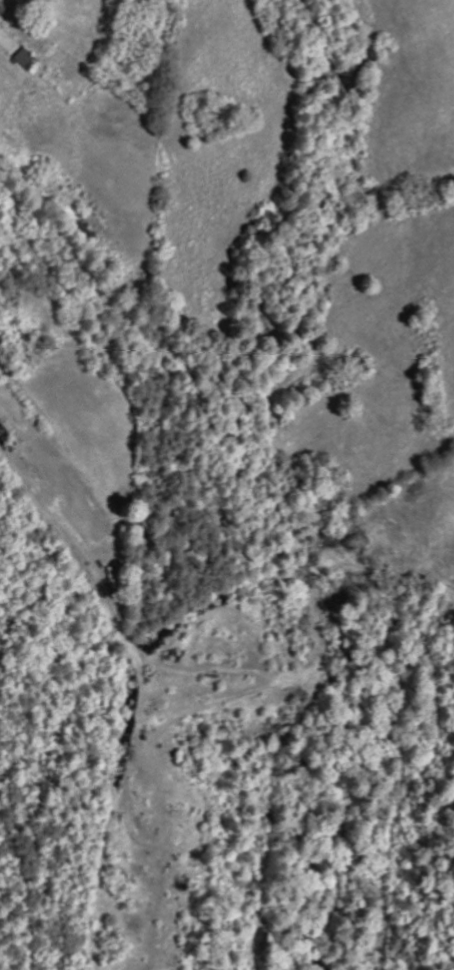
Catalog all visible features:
building: (29, 57)

